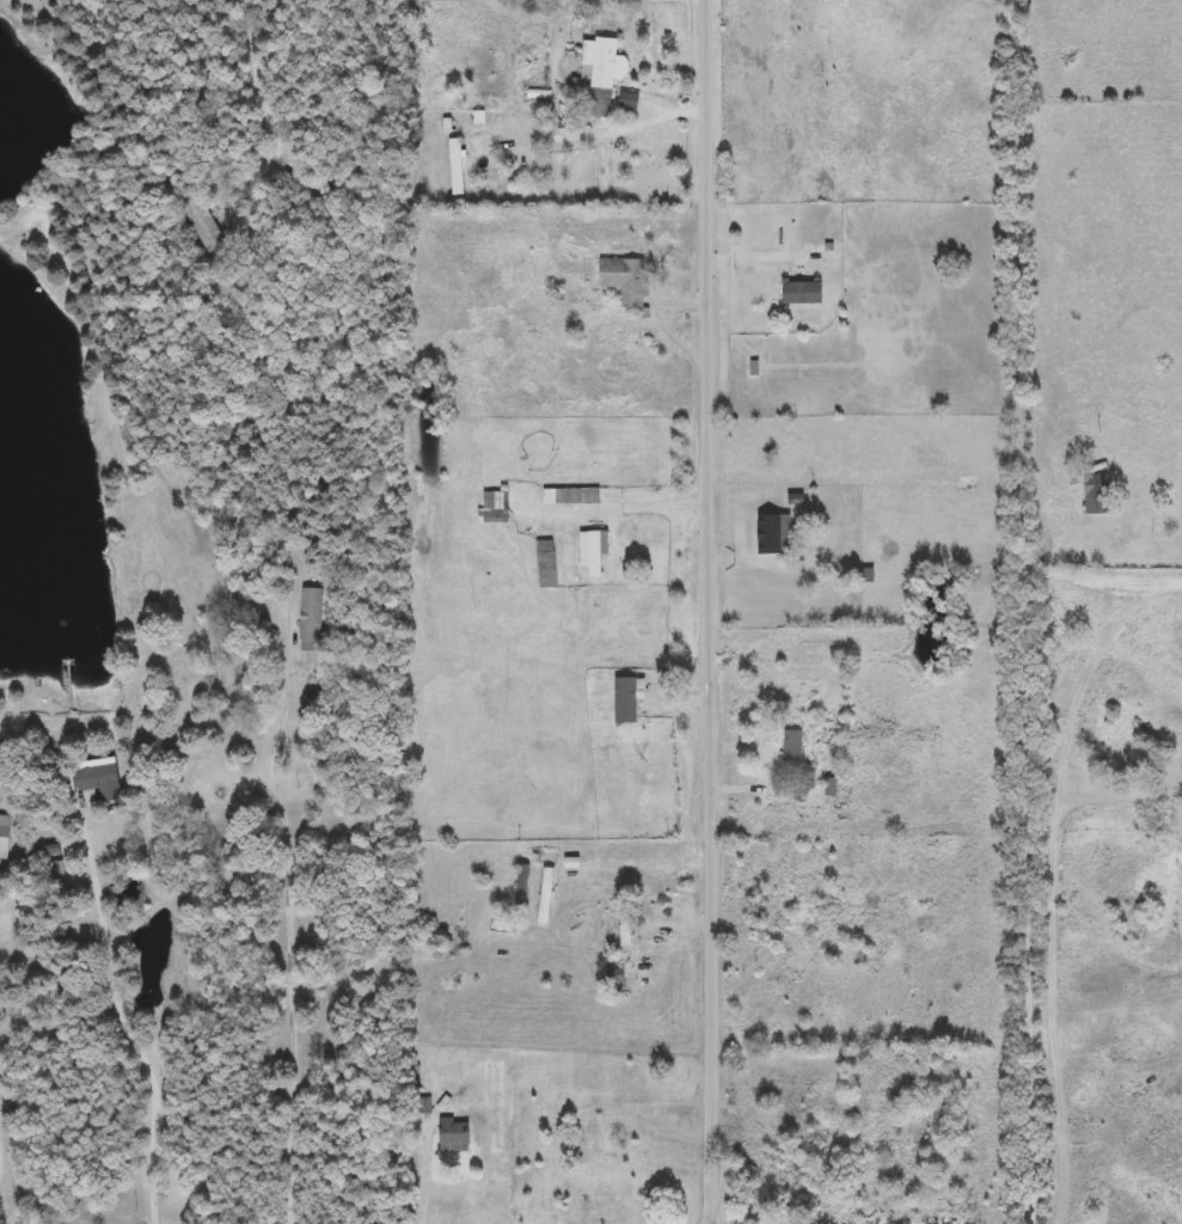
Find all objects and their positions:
building: (600, 62)
road: (262, 105)
road: (629, 127)
building: (457, 166)
building: (203, 222)
building: (626, 280)
building: (803, 293)
building: (1097, 494)
building: (571, 496)
road: (655, 504)
building: (780, 534)
building: (594, 551)
road: (745, 556)
building: (546, 564)
road: (1103, 573)
road: (710, 612)
road: (1027, 612)
building: (313, 619)
building: (630, 697)
building: (794, 748)
building: (100, 778)
building: (6, 837)
building: (572, 862)
building: (547, 895)
building: (771, 916)
building: (625, 923)
road: (289, 951)
road: (675, 978)
building: (616, 980)
road: (129, 1029)
road: (668, 1094)
building: (422, 1106)
building: (455, 1133)
road: (428, 1179)

